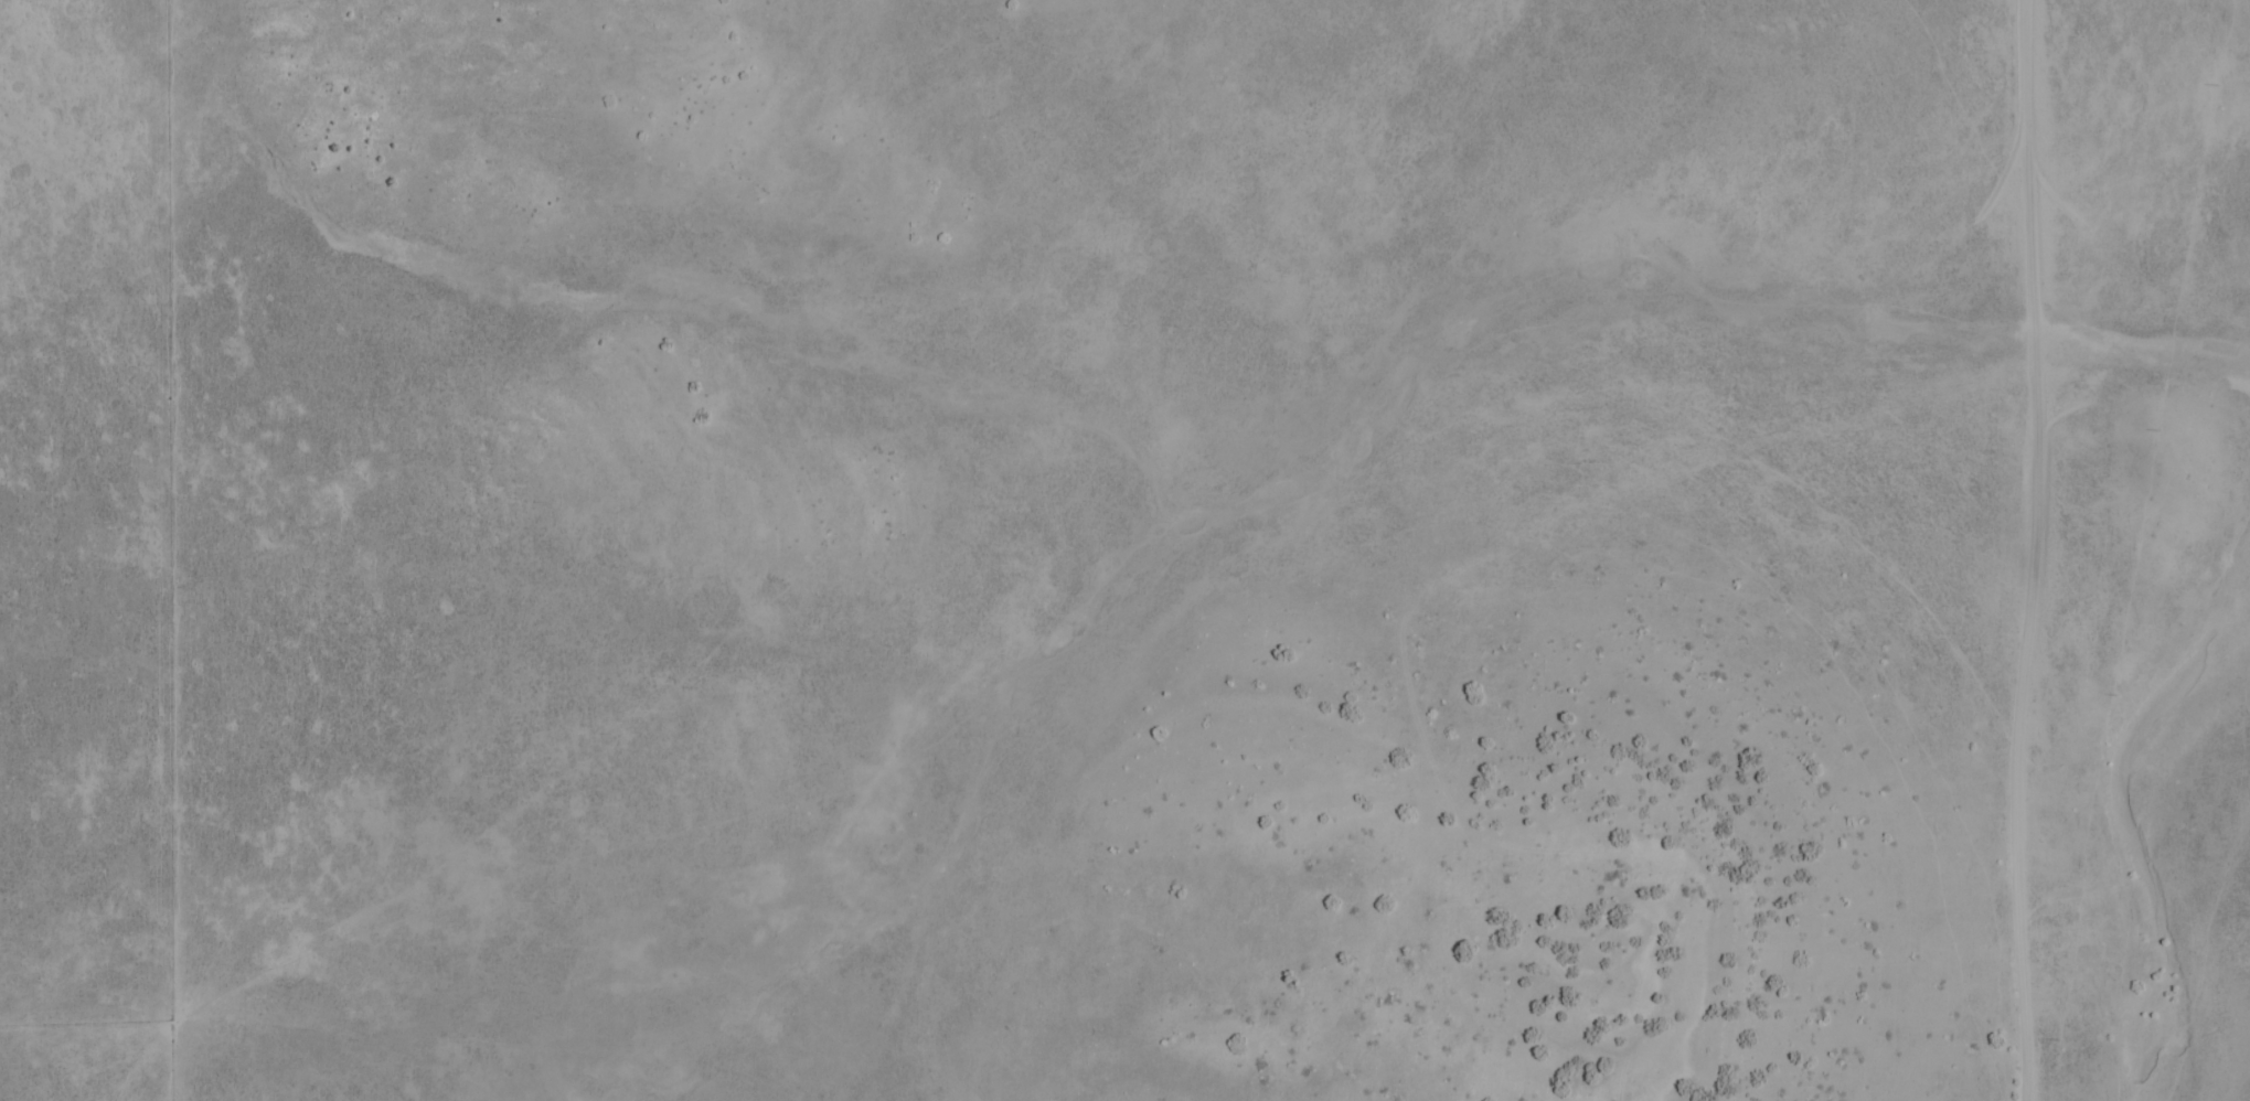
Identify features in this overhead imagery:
road: (2013, 252)
road: (1998, 680)

